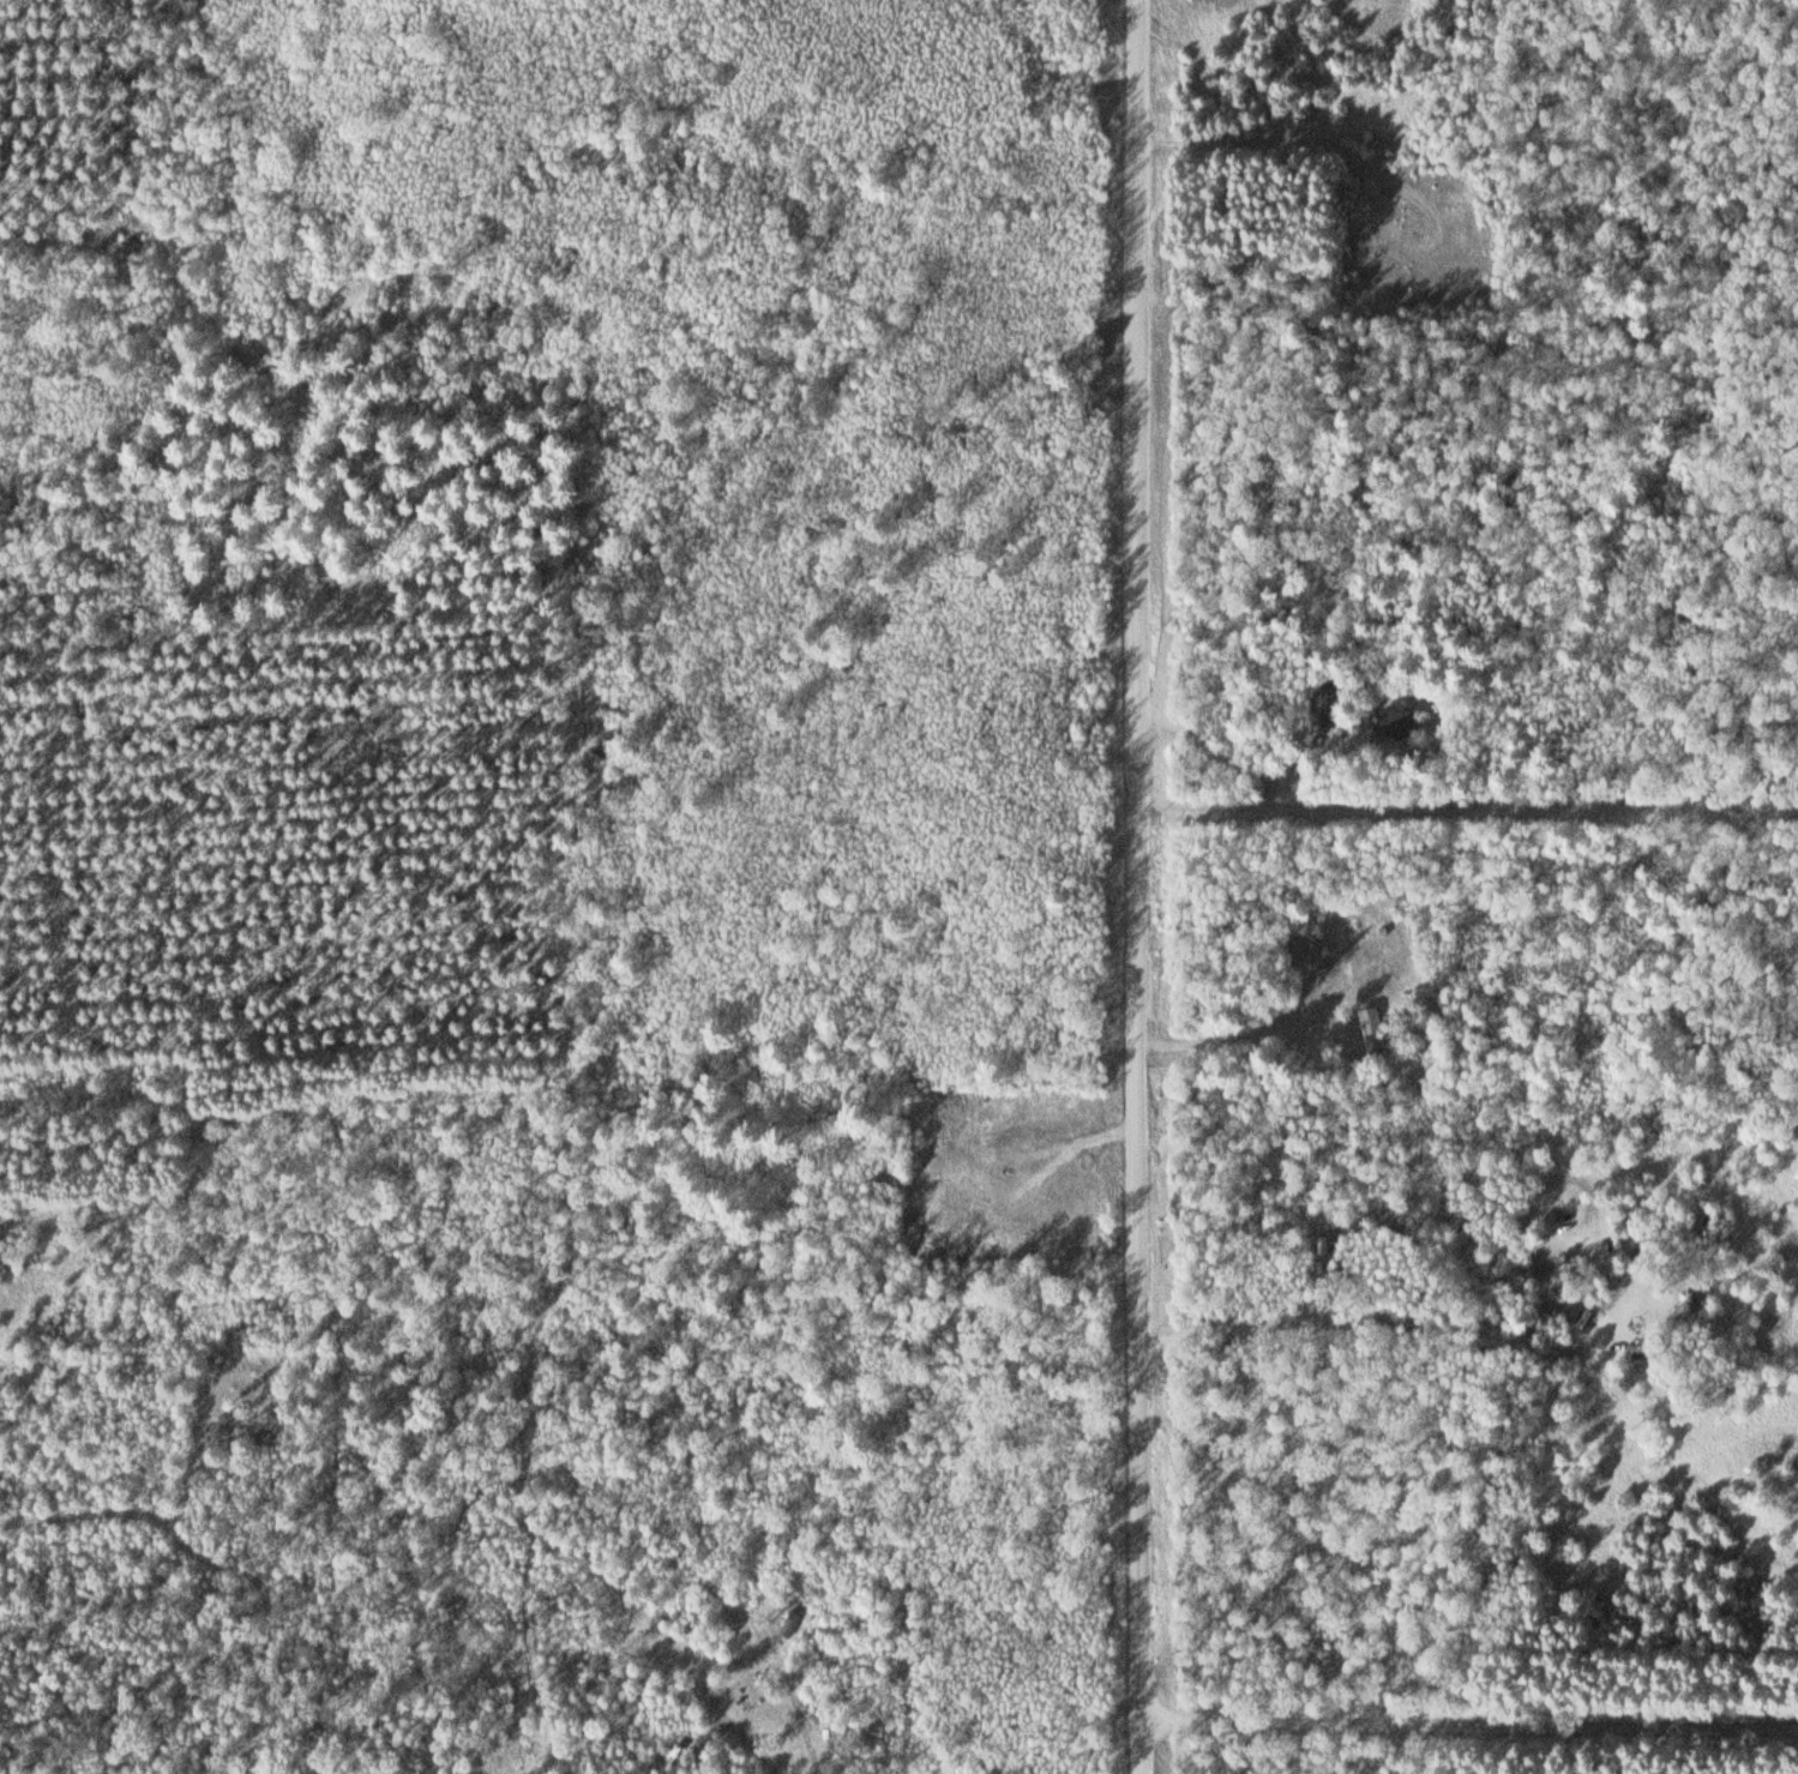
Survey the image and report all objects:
road: (1304, 137)
building: (1405, 722)
road: (1475, 826)
road: (1144, 886)
building: (1315, 956)
building: (1373, 1034)
road: (1471, 1722)

